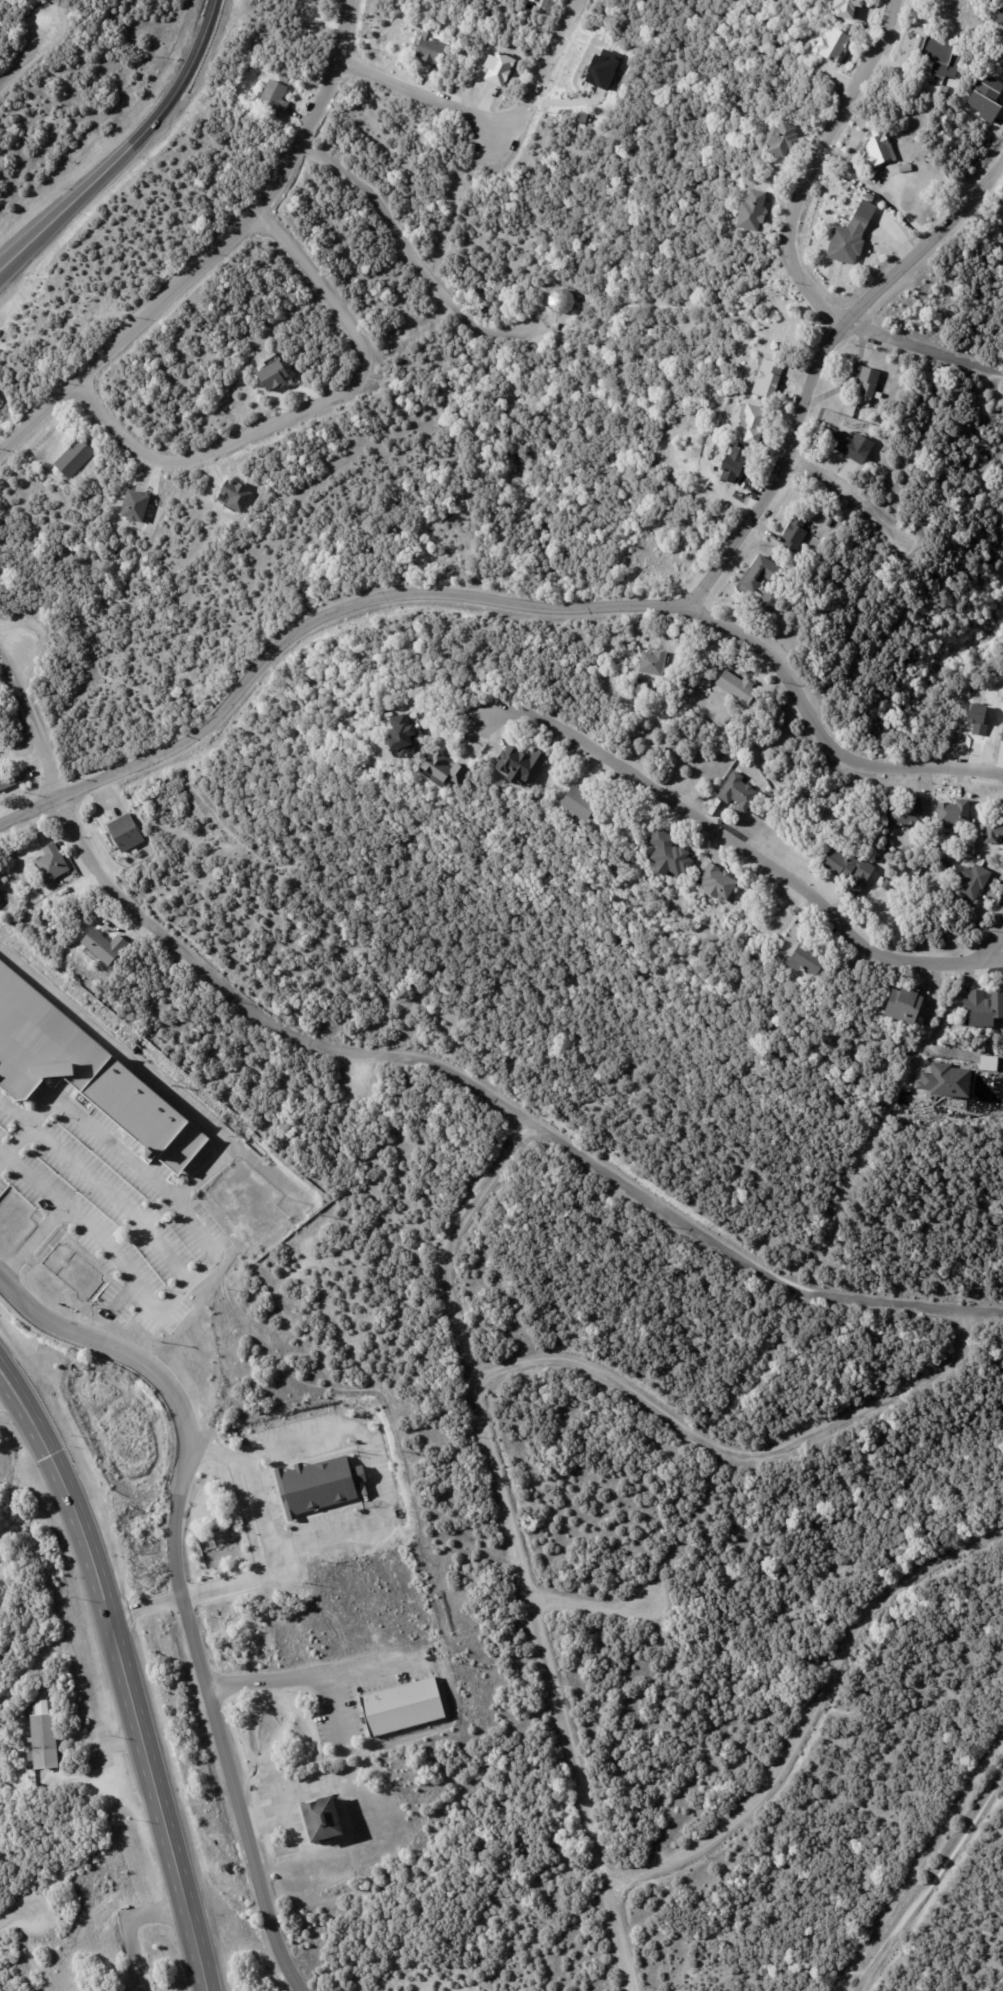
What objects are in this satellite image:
building: (850, 6)
building: (996, 13)
building: (485, 43)
building: (839, 45)
building: (436, 47)
building: (942, 54)
road: (28, 57)
building: (501, 67)
building: (944, 89)
building: (982, 91)
building: (277, 95)
road: (493, 122)
building: (786, 139)
building: (907, 142)
road: (127, 149)
building: (876, 150)
road: (813, 164)
building: (905, 167)
building: (884, 190)
building: (758, 212)
building: (853, 237)
road: (215, 251)
road: (416, 261)
building: (560, 301)
water tower: (561, 301)
building: (557, 326)
road: (921, 349)
road: (815, 361)
building: (277, 375)
building: (771, 377)
building: (867, 380)
building: (1, 399)
road: (303, 411)
building: (756, 422)
building: (854, 445)
building: (77, 457)
building: (733, 469)
building: (64, 482)
road: (850, 493)
building: (237, 494)
building: (140, 505)
building: (829, 522)
building: (813, 531)
building: (796, 534)
building: (763, 575)
building: (768, 600)
road: (313, 620)
building: (655, 660)
building: (745, 673)
building: (740, 685)
building: (729, 719)
road: (32, 725)
building: (405, 730)
road: (821, 737)
building: (527, 759)
building: (452, 765)
building: (4, 777)
building: (742, 790)
building: (772, 797)
building: (588, 802)
building: (954, 811)
building: (905, 813)
building: (992, 826)
building: (130, 832)
road: (742, 848)
building: (675, 851)
building: (56, 861)
building: (845, 862)
building: (858, 878)
building: (723, 881)
building: (978, 881)
building: (888, 885)
road: (995, 941)
building: (108, 944)
building: (812, 957)
building: (903, 1005)
building: (982, 1005)
road: (941, 1021)
building: (987, 1062)
building: (86, 1071)
building: (944, 1080)
road: (499, 1103)
road: (29, 1127)
road: (107, 1135)
road: (41, 1179)
road: (182, 1205)
road: (5, 1393)
road: (735, 1452)
road: (217, 1455)
road: (368, 1465)
building: (320, 1487)
road: (266, 1502)
road: (516, 1546)
road: (246, 1582)
road: (177, 1590)
road: (588, 1605)
road: (144, 1608)
road: (123, 1674)
road: (297, 1675)
building: (403, 1708)
road: (810, 1714)
building: (44, 1738)
building: (326, 1822)
road: (917, 1861)
road: (933, 1882)
road: (15, 1918)
road: (128, 1926)

